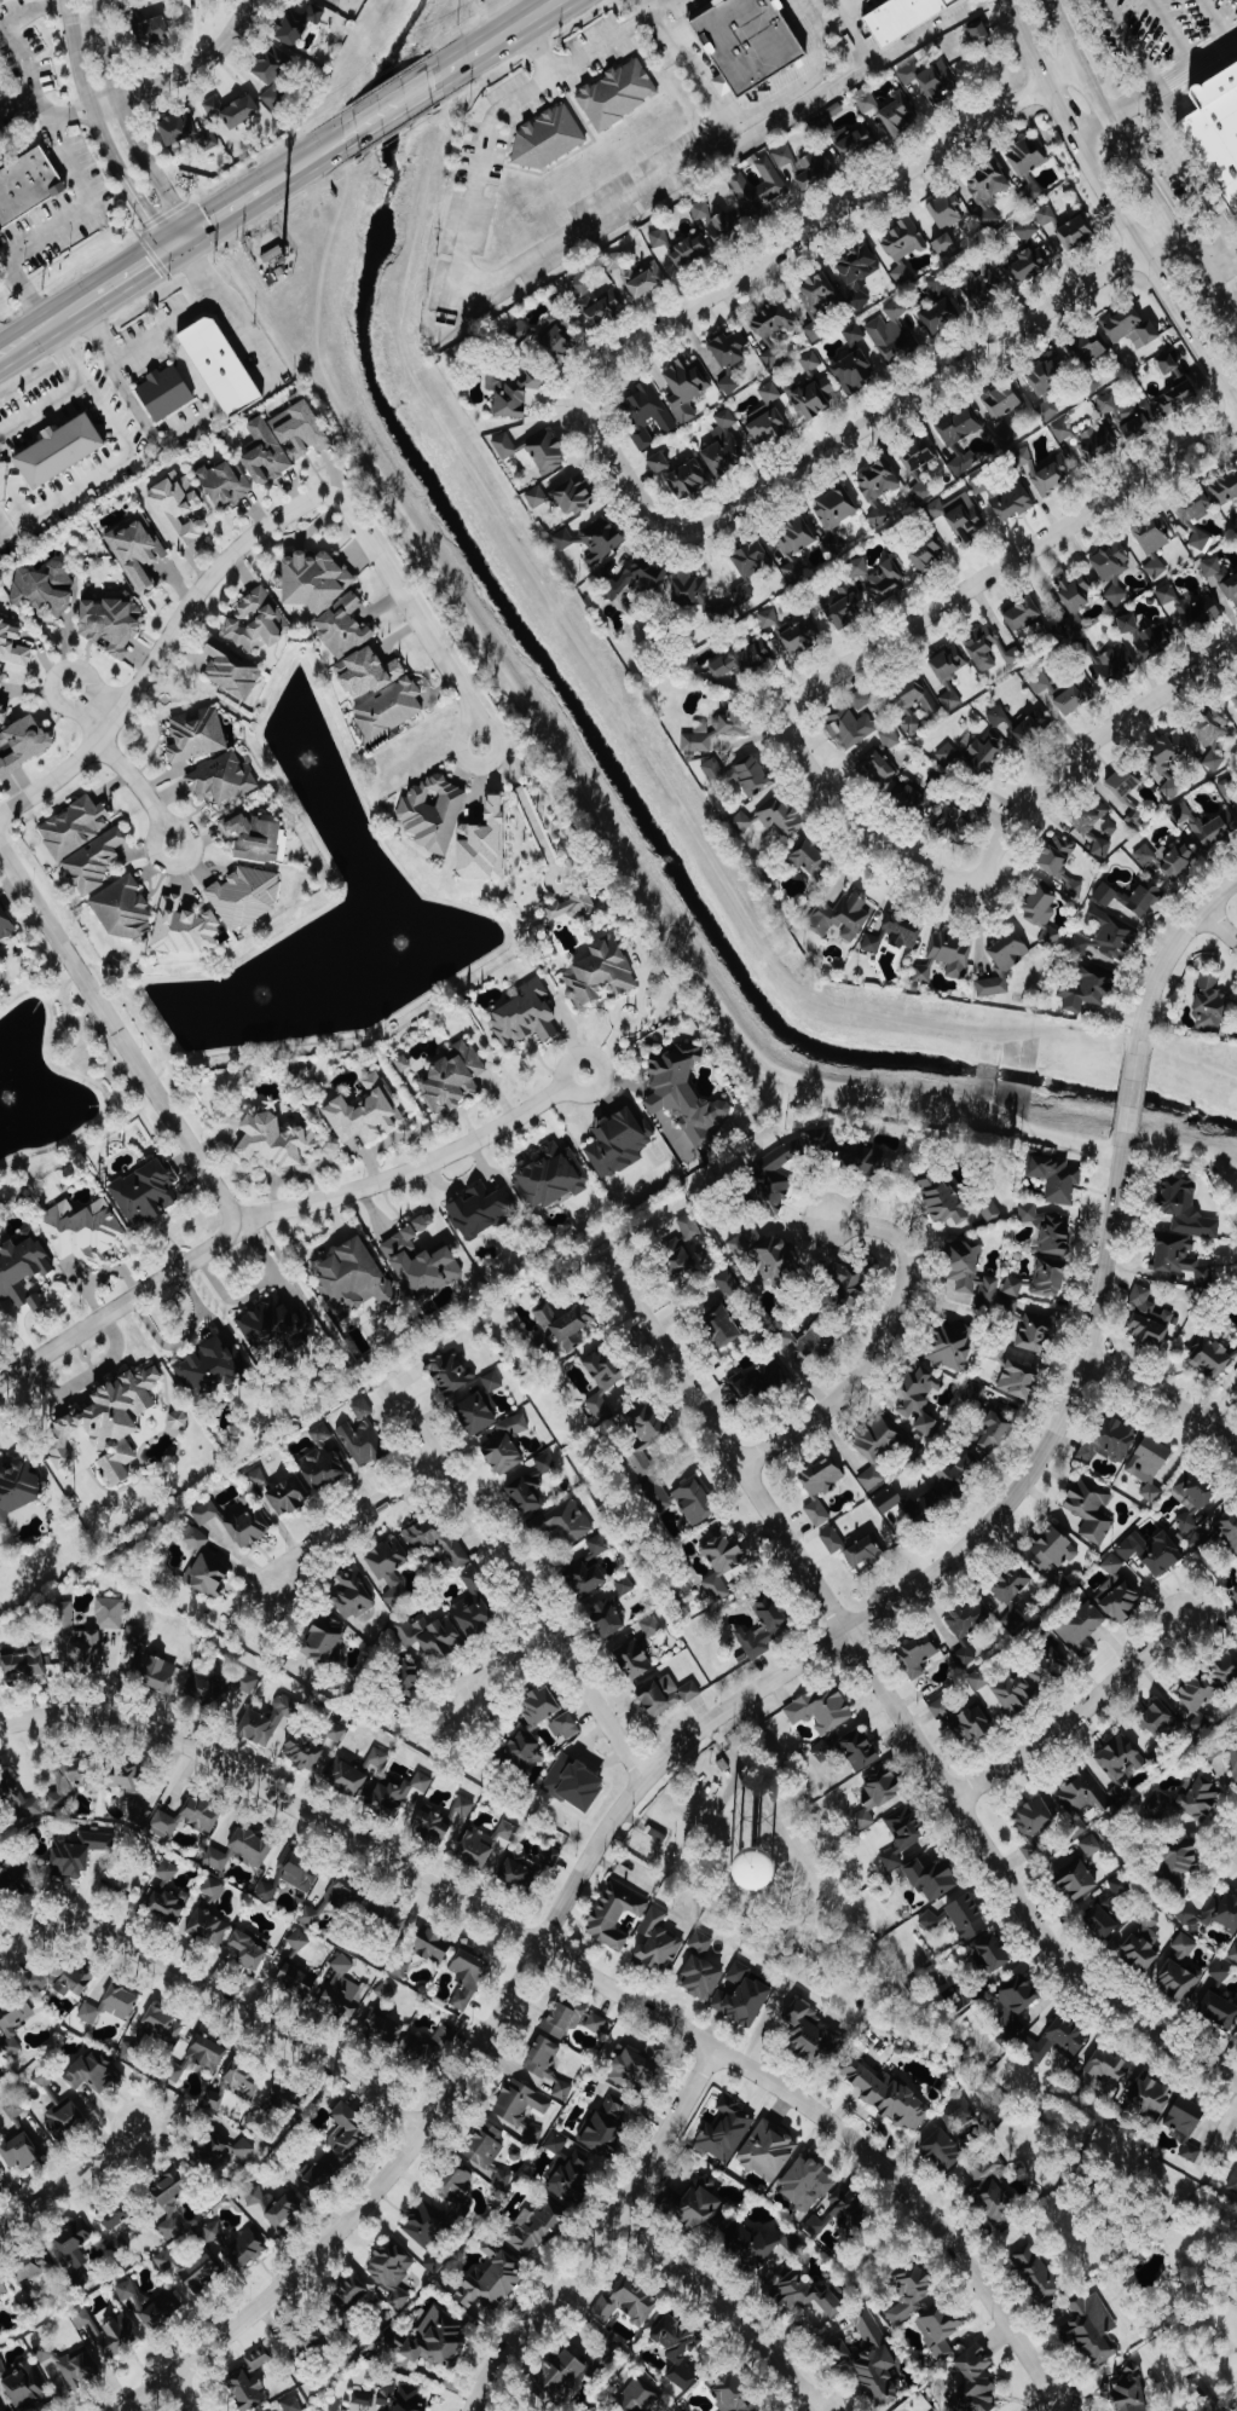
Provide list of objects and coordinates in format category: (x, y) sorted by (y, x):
road: (520, 11)
building: (904, 17)
building: (300, 23)
road: (2, 25)
building: (979, 29)
building: (1231, 29)
building: (154, 31)
road: (503, 34)
building: (748, 41)
road: (1127, 42)
road: (15, 45)
road: (539, 48)
road: (908, 48)
road: (688, 68)
road: (844, 69)
road: (183, 73)
building: (273, 76)
building: (930, 80)
road: (1155, 83)
building: (618, 94)
building: (1221, 96)
road: (17, 102)
road: (392, 105)
building: (213, 108)
road: (502, 110)
building: (891, 110)
building: (241, 111)
road: (123, 122)
building: (178, 127)
road: (97, 132)
building: (840, 134)
building: (548, 138)
building: (207, 140)
building: (857, 143)
building: (785, 156)
building: (1027, 157)
road: (305, 161)
road: (1137, 167)
road: (680, 169)
building: (816, 170)
road: (1186, 178)
building: (28, 186)
building: (759, 189)
building: (989, 191)
road: (232, 206)
road: (1112, 207)
building: (700, 210)
building: (947, 212)
building: (1046, 215)
road: (68, 216)
road: (823, 220)
building: (727, 225)
building: (1027, 230)
traffic signals: (191, 232)
building: (1075, 232)
building: (659, 238)
road: (178, 241)
building: (904, 241)
building: (944, 243)
traffic signals: (166, 250)
building: (690, 251)
building: (1028, 265)
road: (1221, 268)
building: (859, 273)
building: (902, 273)
building: (637, 274)
road: (121, 277)
building: (580, 285)
building: (820, 303)
road: (220, 307)
building: (601, 310)
road: (62, 314)
building: (1132, 326)
building: (519, 330)
building: (774, 330)
building: (891, 331)
road: (7, 334)
building: (854, 334)
road: (23, 339)
building: (557, 339)
building: (1092, 348)
road: (64, 349)
building: (729, 351)
road: (132, 357)
building: (811, 362)
building: (1168, 363)
building: (221, 365)
building: (855, 372)
building: (1047, 382)
road: (925, 385)
building: (684, 389)
building: (167, 392)
building: (516, 393)
building: (1178, 398)
building: (813, 399)
road: (40, 401)
building: (1002, 401)
building: (647, 414)
building: (769, 417)
building: (1137, 420)
building: (302, 430)
building: (959, 430)
building: (1062, 430)
road: (144, 435)
building: (1096, 444)
building: (724, 446)
building: (54, 450)
building: (266, 452)
building: (919, 457)
building: (660, 463)
road: (620, 468)
building: (1044, 472)
road: (96, 476)
building: (689, 480)
building: (225, 484)
building: (878, 488)
building: (1224, 488)
building: (921, 491)
building: (573, 496)
building: (537, 497)
building: (1011, 499)
building: (836, 508)
building: (179, 509)
building: (935, 510)
building: (967, 522)
road: (2, 531)
building: (566, 539)
building: (602, 539)
building: (794, 545)
building: (1152, 548)
building: (137, 551)
building: (927, 555)
building: (752, 559)
building: (1110, 562)
building: (641, 577)
building: (1220, 578)
building: (879, 579)
building: (314, 582)
building: (45, 588)
building: (693, 590)
building: (742, 592)
building: (1076, 594)
building: (1116, 594)
road: (407, 606)
building: (844, 606)
building: (1191, 607)
building: (1024, 615)
building: (769, 618)
building: (111, 624)
building: (255, 624)
building: (1129, 624)
building: (345, 628)
road: (894, 632)
building: (802, 636)
building: (1152, 642)
building: (13, 644)
road: (160, 647)
building: (984, 648)
building: (1015, 657)
building: (744, 661)
building: (1115, 664)
building: (232, 671)
building: (368, 673)
building: (949, 675)
building: (1, 681)
building: (1075, 695)
road: (65, 701)
building: (1236, 701)
building: (914, 703)
road: (99, 709)
building: (391, 709)
building: (4, 715)
building: (852, 721)
building: (1235, 725)
building: (1033, 727)
building: (722, 728)
building: (1212, 728)
building: (197, 735)
building: (890, 738)
building: (23, 745)
road: (1083, 745)
building: (971, 754)
building: (1213, 759)
road: (472, 762)
building: (1167, 765)
building: (877, 768)
building: (740, 775)
building: (222, 780)
road: (134, 782)
building: (1123, 784)
building: (1229, 787)
building: (908, 796)
building: (434, 814)
building: (781, 815)
building: (1091, 817)
building: (1137, 817)
building: (744, 822)
building: (954, 823)
building: (1218, 825)
building: (75, 827)
building: (1109, 827)
road: (541, 834)
building: (258, 839)
building: (485, 844)
building: (1100, 845)
building: (813, 858)
building: (1168, 860)
building: (94, 862)
road: (169, 863)
traffic signals: (973, 889)
building: (245, 897)
building: (1144, 898)
building: (572, 907)
building: (125, 912)
building: (1041, 915)
building: (844, 918)
building: (6, 924)
road: (1218, 926)
building: (185, 929)
building: (903, 931)
building: (1108, 937)
building: (872, 944)
building: (1010, 952)
building: (950, 953)
road: (1168, 955)
building: (924, 972)
building: (601, 973)
building: (993, 987)
building: (1087, 989)
building: (1212, 1006)
building: (526, 1017)
road: (121, 1037)
building: (403, 1063)
building: (453, 1079)
road: (1129, 1092)
road: (585, 1093)
building: (686, 1093)
building: (366, 1112)
building: (821, 1139)
building: (277, 1141)
building: (619, 1143)
building: (871, 1161)
building: (775, 1175)
building: (551, 1178)
building: (1056, 1178)
building: (146, 1193)
building: (944, 1199)
road: (272, 1209)
building: (481, 1212)
building: (990, 1212)
building: (690, 1227)
building: (1050, 1230)
building: (85, 1232)
building: (1184, 1232)
building: (770, 1255)
building: (421, 1261)
building: (681, 1264)
building: (23, 1270)
building: (971, 1273)
building: (356, 1279)
building: (1042, 1279)
building: (728, 1282)
building: (851, 1284)
building: (1149, 1319)
building: (566, 1323)
building: (724, 1323)
building: (279, 1326)
building: (1036, 1334)
building: (819, 1339)
building: (954, 1346)
road: (886, 1347)
building: (1210, 1357)
building: (451, 1370)
building: (758, 1380)
building: (1019, 1380)
building: (493, 1381)
building: (606, 1381)
road: (1166, 1393)
building: (920, 1405)
building: (363, 1409)
building: (478, 1413)
building: (179, 1421)
building: (109, 1426)
building: (994, 1432)
building: (646, 1435)
building: (1112, 1440)
building: (363, 1442)
building: (508, 1445)
building: (877, 1452)
building: (323, 1459)
building: (1150, 1465)
building: (961, 1472)
building: (259, 1478)
building: (533, 1485)
building: (822, 1486)
building: (18, 1488)
building: (1193, 1492)
building: (290, 1494)
building: (657, 1494)
building: (696, 1501)
building: (911, 1508)
building: (1091, 1509)
building: (206, 1513)
road: (351, 1521)
building: (568, 1522)
building: (1186, 1522)
building: (250, 1527)
building: (1215, 1534)
building: (196, 1537)
building: (438, 1540)
building: (834, 1540)
building: (1053, 1551)
building: (1152, 1551)
building: (865, 1553)
building: (723, 1563)
building: (391, 1568)
building: (590, 1568)
building: (208, 1574)
road: (514, 1583)
building: (1013, 1583)
building: (1057, 1583)
building: (625, 1584)
building: (1236, 1591)
building: (1117, 1592)
building: (353, 1595)
building: (476, 1607)
building: (608, 1618)
building: (969, 1619)
building: (652, 1626)
building: (767, 1626)
building: (1082, 1629)
building: (87, 1635)
building: (138, 1635)
building: (430, 1636)
building: (324, 1640)
building: (1, 1653)
building: (919, 1654)
building: (965, 1658)
building: (635, 1659)
building: (28, 1664)
road: (501, 1664)
building: (1050, 1666)
building: (1226, 1666)
building: (155, 1671)
building: (409, 1679)
building: (981, 1679)
building: (226, 1689)
building: (1198, 1690)
building: (1013, 1693)
building: (667, 1694)
road: (890, 1694)
building: (543, 1706)
building: (941, 1708)
building: (823, 1710)
road: (1079, 1716)
building: (1160, 1719)
building: (265, 1722)
building: (1198, 1722)
building: (976, 1723)
building: (566, 1728)
building: (336, 1733)
building: (306, 1750)
building: (526, 1750)
building: (376, 1760)
building: (1120, 1764)
road: (653, 1774)
building: (347, 1777)
building: (131, 1780)
building: (70, 1781)
building: (576, 1783)
building: (399, 1794)
building: (880, 1794)
building: (1079, 1798)
building: (19, 1799)
building: (1186, 1800)
building: (189, 1817)
building: (444, 1822)
building: (1035, 1825)
building: (903, 1834)
building: (484, 1844)
building: (1091, 1845)
building: (253, 1848)
building: (80, 1852)
building: (1183, 1856)
building: (216, 1858)
building: (0, 1871)
building: (167, 1871)
building: (526, 1871)
water tower: (751, 1872)
building: (291, 1875)
building: (935, 1878)
building: (1077, 1880)
building: (15, 1883)
building: (214, 1890)
building: (166, 1904)
building: (369, 1906)
building: (1214, 1913)
building: (615, 1915)
building: (969, 1916)
building: (930, 1920)
building: (1103, 1923)
building: (209, 1927)
building: (299, 1941)
building: (659, 1942)
building: (703, 1942)
building: (1143, 1943)
building: (434, 1945)
building: (1184, 1945)
building: (250, 1950)
building: (993, 1952)
building: (1233, 1953)
road: (582, 1967)
building: (739, 1972)
building: (1220, 1972)
building: (469, 1977)
building: (701, 1977)
building: (63, 1979)
building: (1177, 1981)
building: (295, 1982)
building: (342, 1990)
road: (216, 1996)
building: (744, 2002)
building: (111, 2005)
building: (1016, 2007)
building: (1219, 2010)
building: (562, 2019)
building: (16, 2022)
building: (596, 2023)
building: (164, 2025)
building: (382, 2030)
building: (810, 2031)
building: (445, 2036)
building: (1062, 2039)
building: (420, 2049)
building: (131, 2052)
building: (207, 2053)
building: (547, 2068)
building: (634, 2070)
building: (92, 2072)
building: (245, 2076)
building: (44, 2077)
building: (890, 2097)
building: (1151, 2097)
building: (287, 2100)
building: (522, 2108)
building: (15, 2109)
building: (963, 2111)
building: (65, 2118)
building: (256, 2122)
building: (1186, 2124)
building: (606, 2129)
building: (728, 2130)
building: (348, 2132)
building: (557, 2143)
building: (230, 2150)
building: (944, 2150)
building: (21, 2151)
building: (769, 2151)
building: (490, 2153)
building: (316, 2172)
building: (572, 2178)
building: (0, 2179)
building: (804, 2179)
building: (1233, 2181)
road: (69, 2182)
building: (457, 2187)
building: (994, 2187)
building: (172, 2199)
building: (273, 2207)
building: (704, 2210)
building: (851, 2210)
building: (117, 2216)
building: (538, 2230)
building: (210, 2232)
building: (429, 2232)
road: (606, 2236)
building: (761, 2245)
building: (74, 2248)
building: (245, 2250)
building: (167, 2262)
building: (33, 2271)
building: (202, 2273)
building: (393, 2273)
building: (1037, 2273)
building: (492, 2285)
building: (1, 2289)
building: (354, 2291)
building: (810, 2294)
building: (912, 2294)
building: (629, 2303)
building: (150, 2306)
road: (728, 2306)
building: (1093, 2326)
building: (938, 2330)
building: (0, 2334)
building: (438, 2340)
building: (683, 2349)
building: (89, 2351)
building: (843, 2352)
building: (877, 2361)
building: (2, 2370)
building: (561, 2378)
building: (252, 2381)
building: (977, 2381)
building: (24, 2388)
building: (1132, 2390)
road: (184, 2393)
building: (735, 2393)
building: (401, 2398)
building: (637, 2398)
building: (293, 2404)
road: (1047, 2404)
building: (0, 2410)

